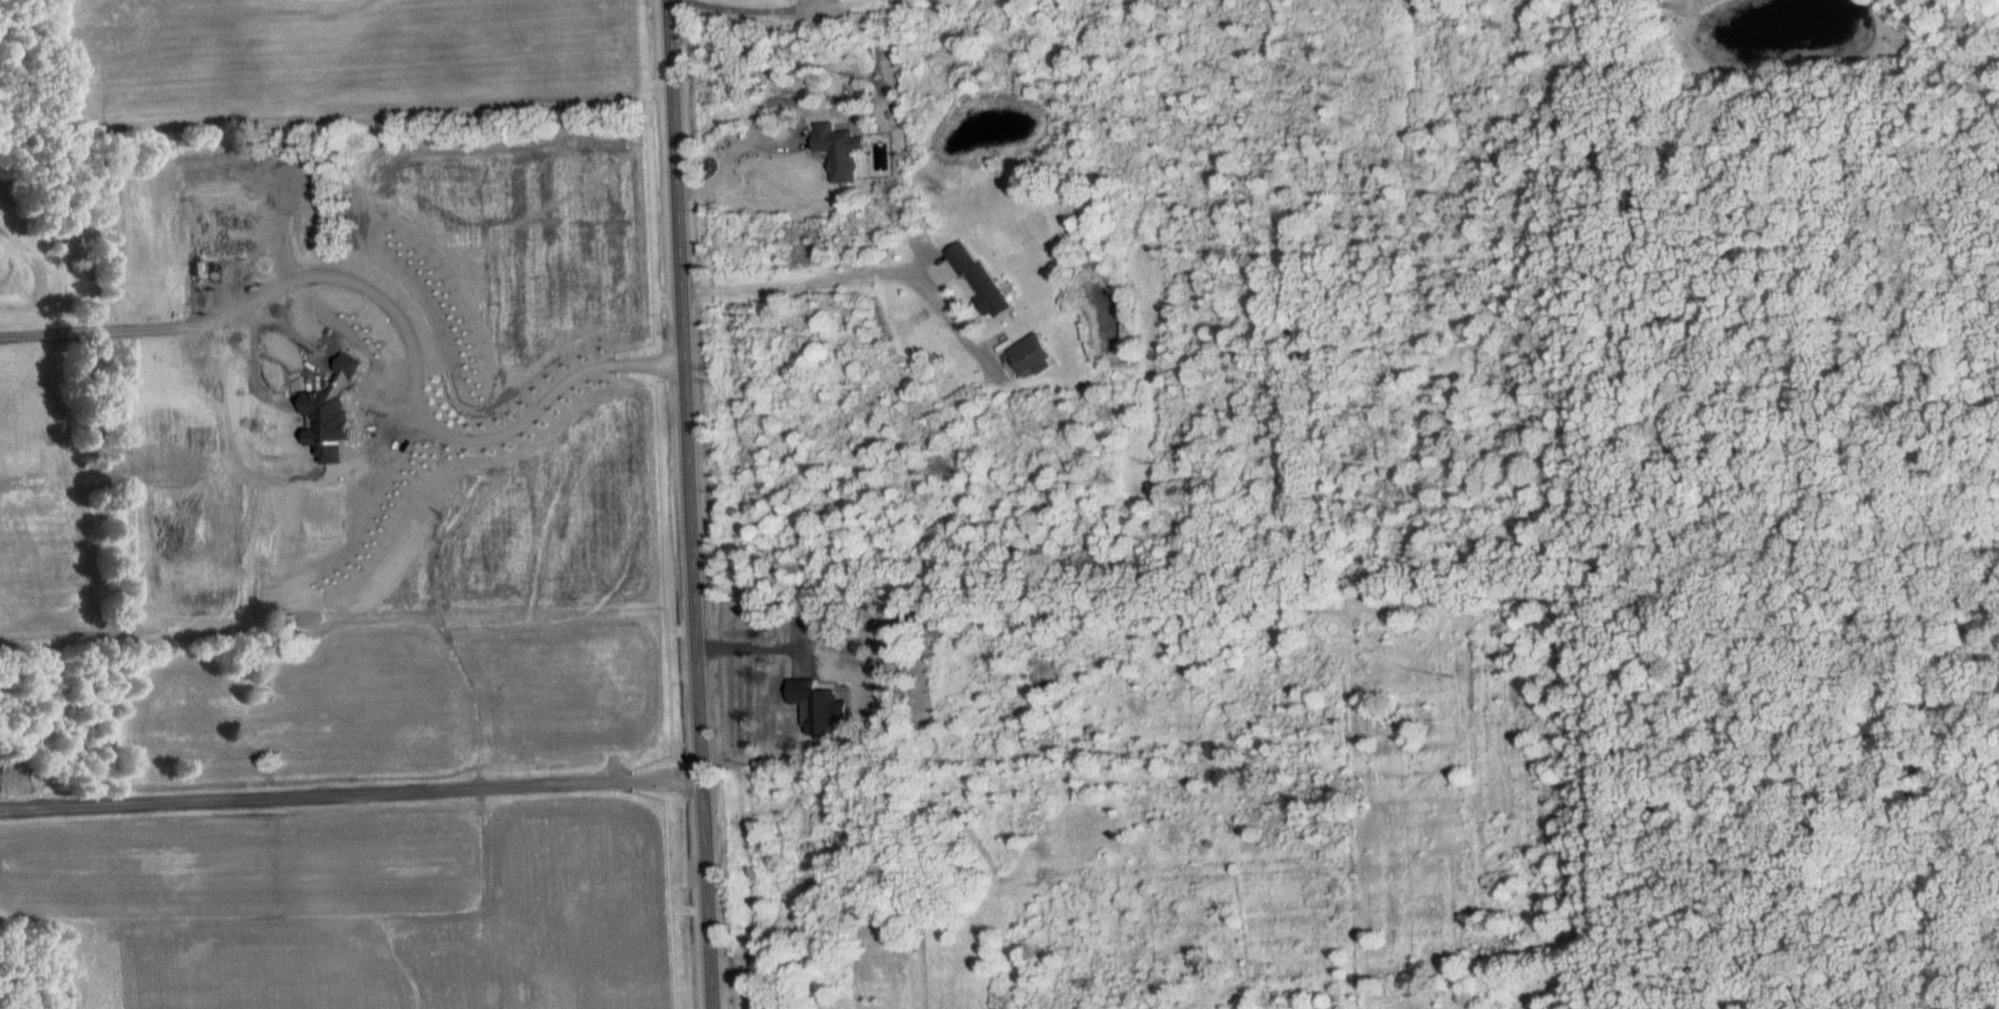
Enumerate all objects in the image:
road: (745, 11)
road: (725, 154)
road: (818, 279)
building: (979, 280)
building: (1031, 356)
road: (536, 405)
road: (686, 504)
road: (745, 639)
road: (348, 787)
building: (609, 899)

